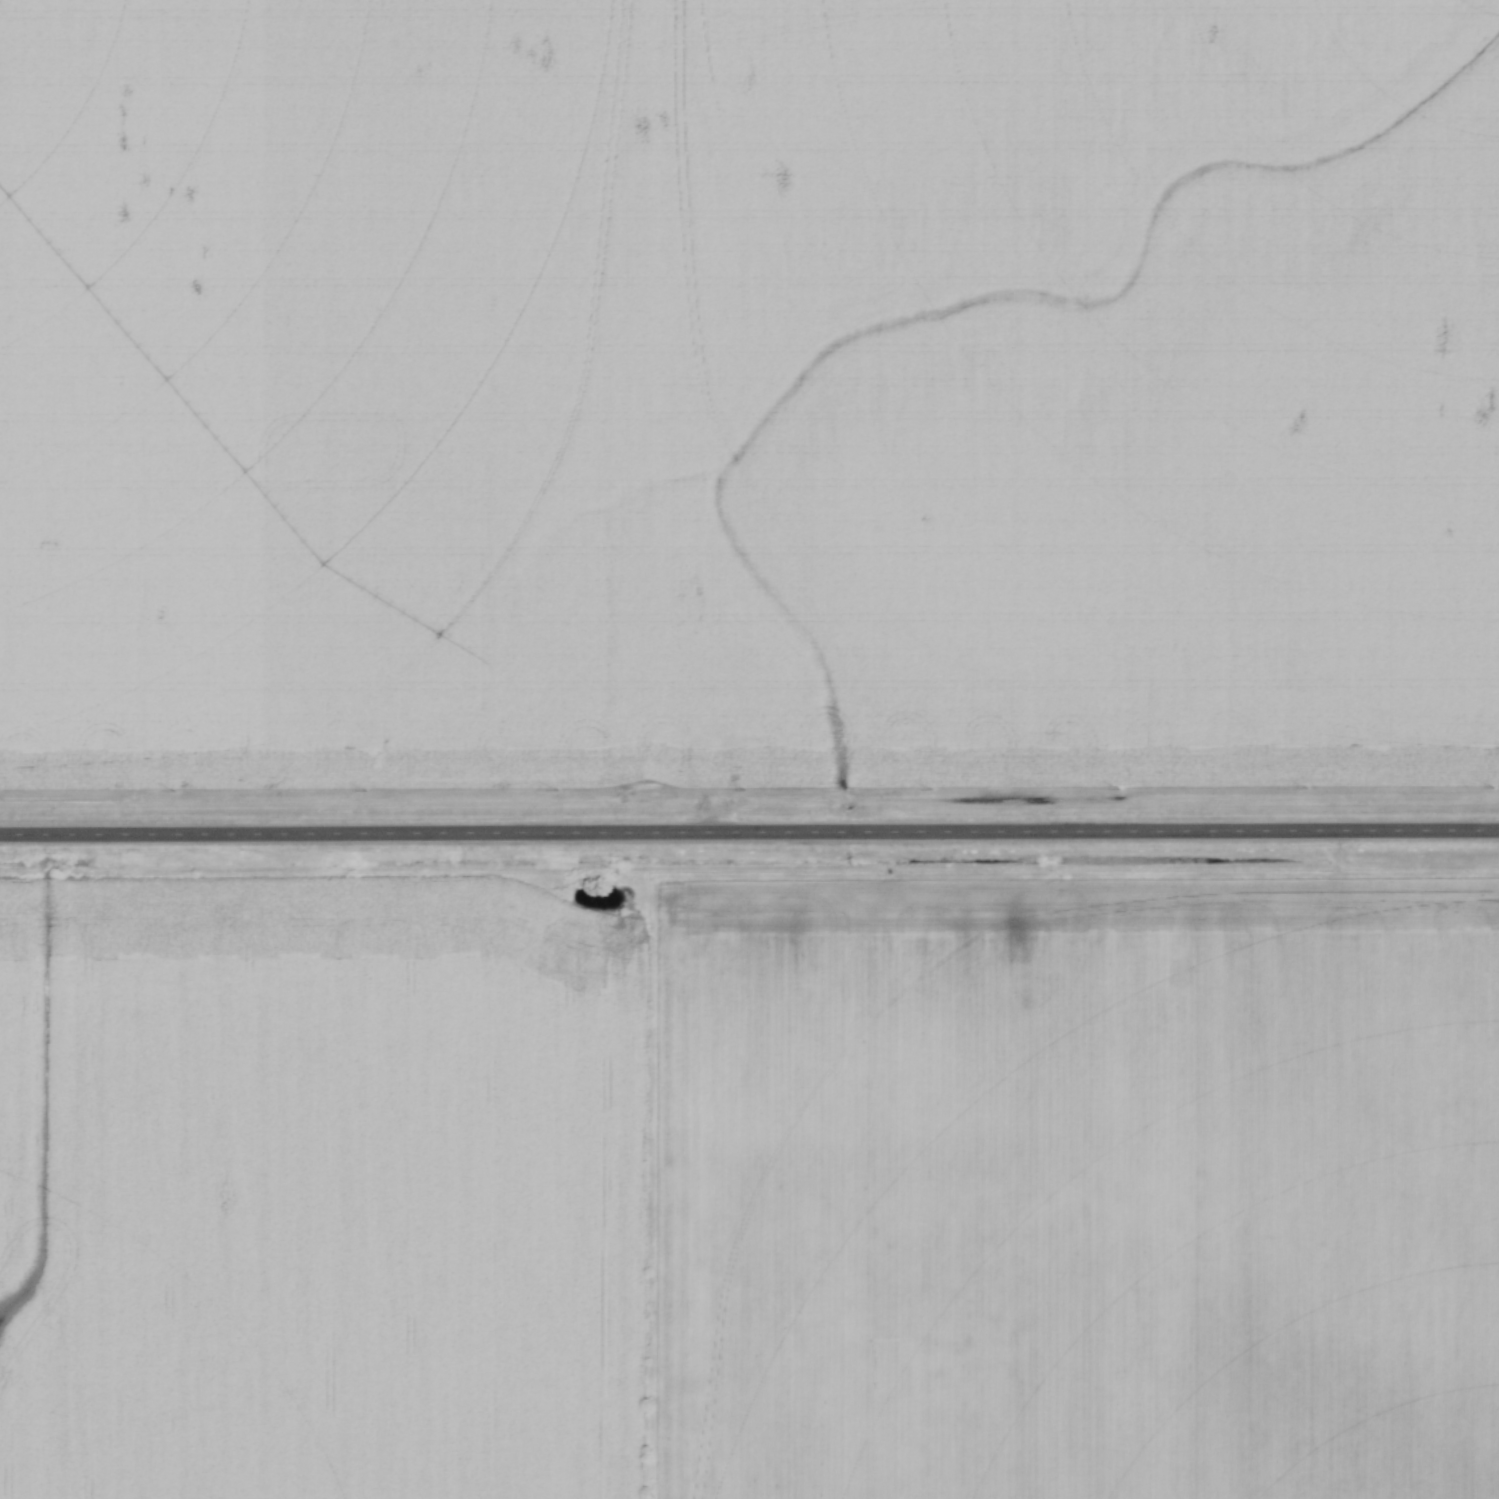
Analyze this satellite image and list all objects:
road: (749, 832)

